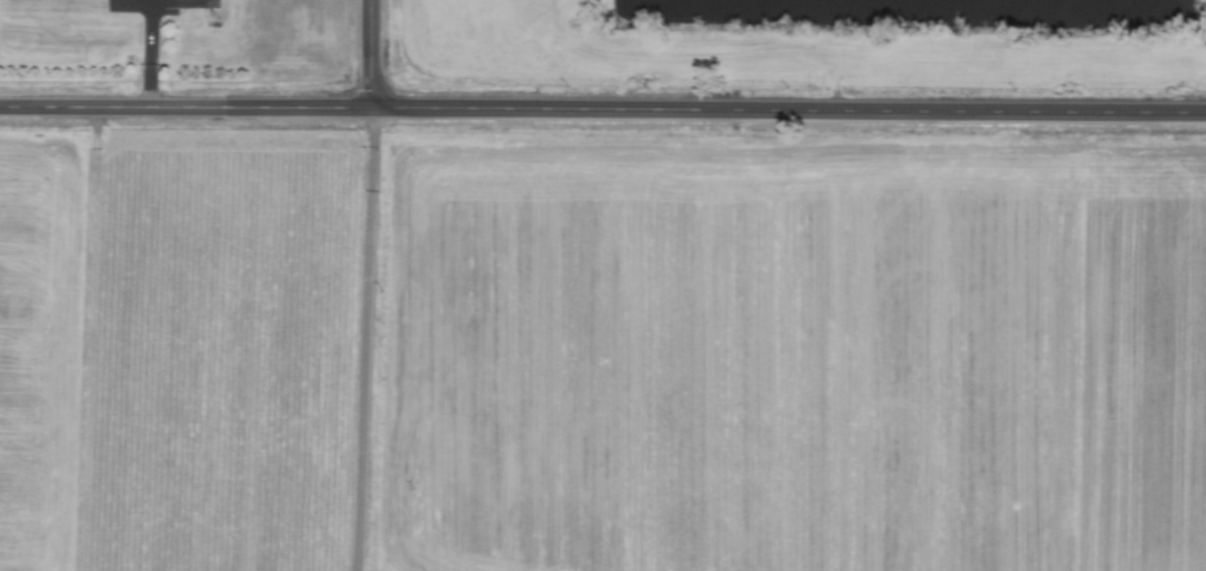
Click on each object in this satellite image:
road: (145, 54)
road: (368, 55)
road: (602, 109)
road: (89, 339)
road: (363, 340)

